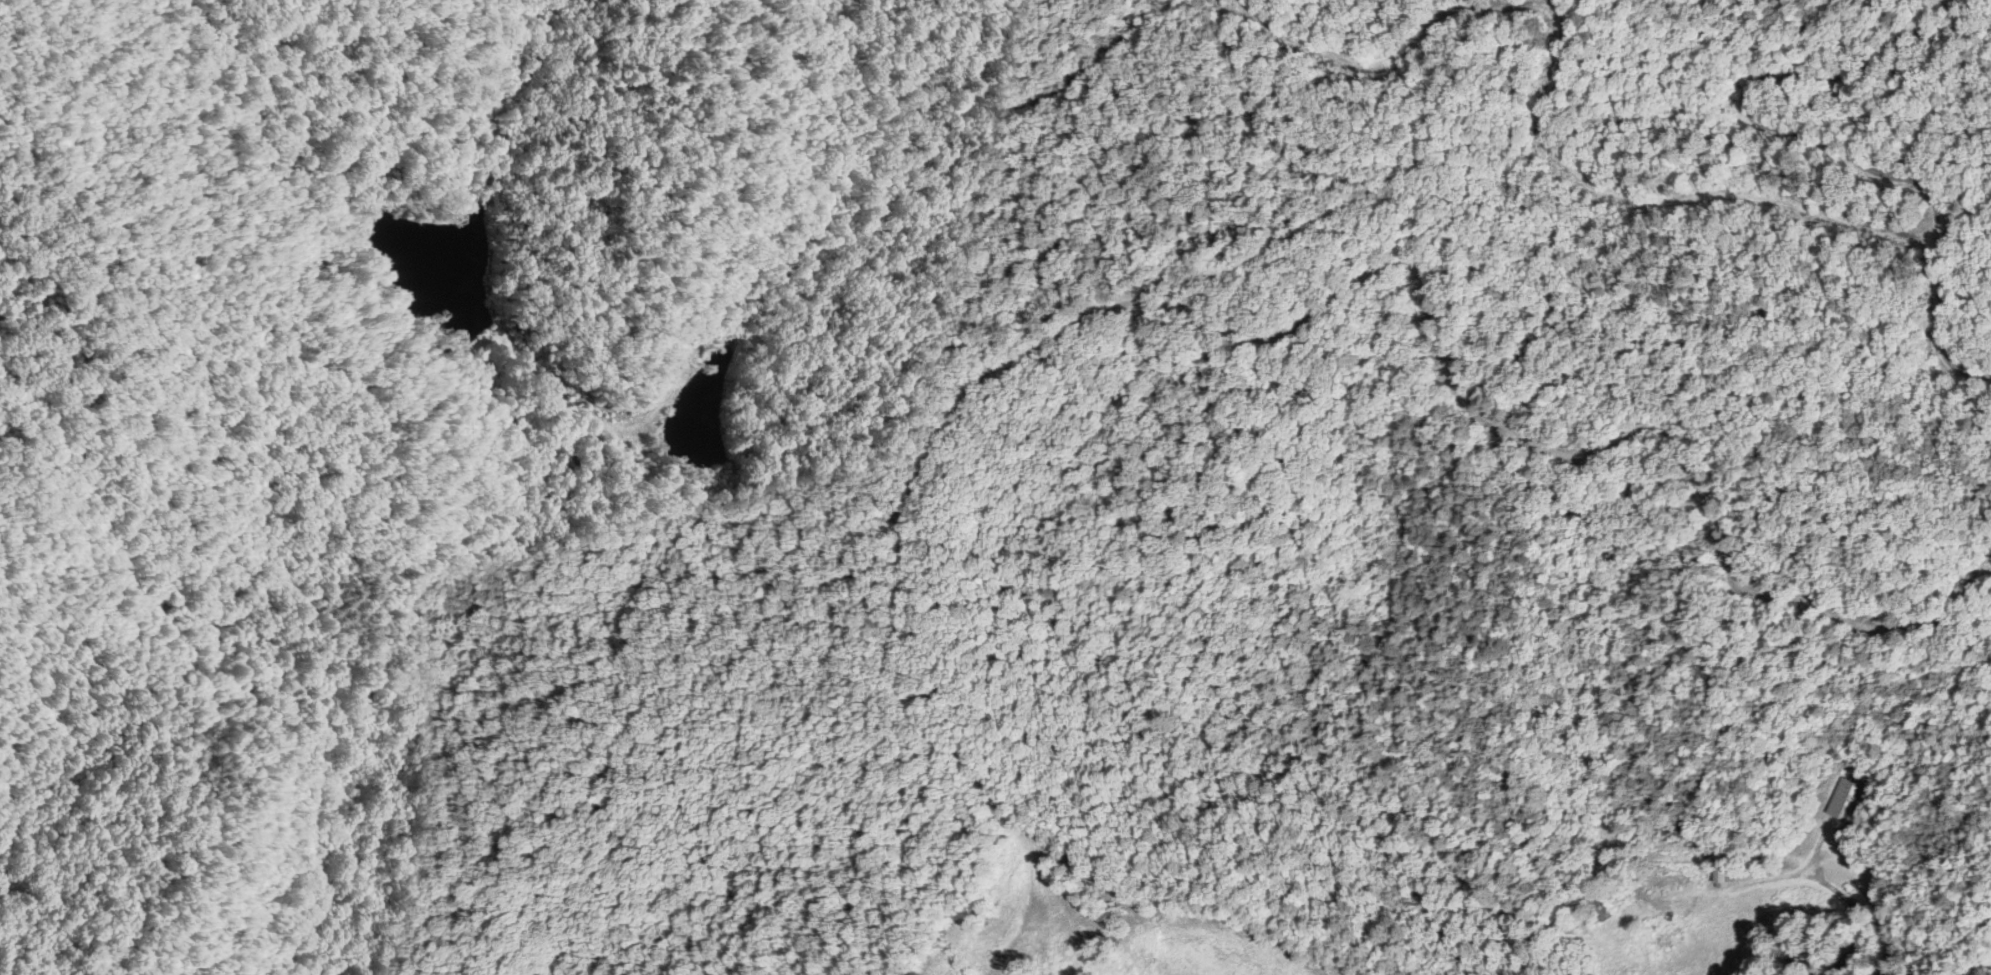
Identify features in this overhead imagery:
building: (1845, 800)
building: (1720, 875)

